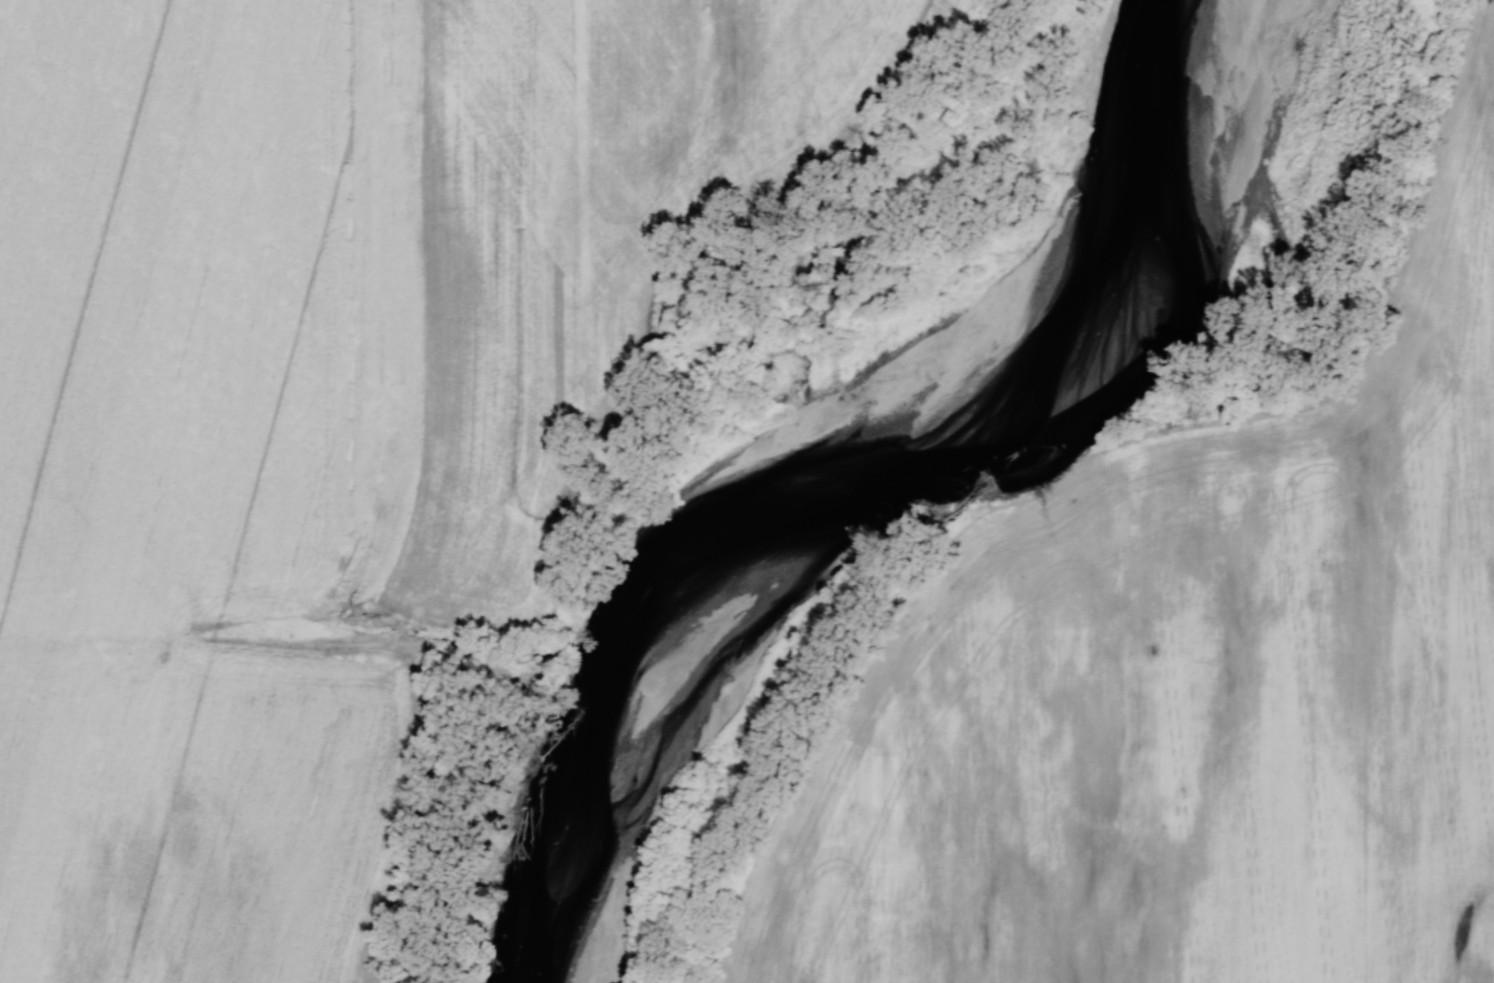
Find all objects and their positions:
river: (831, 439)

